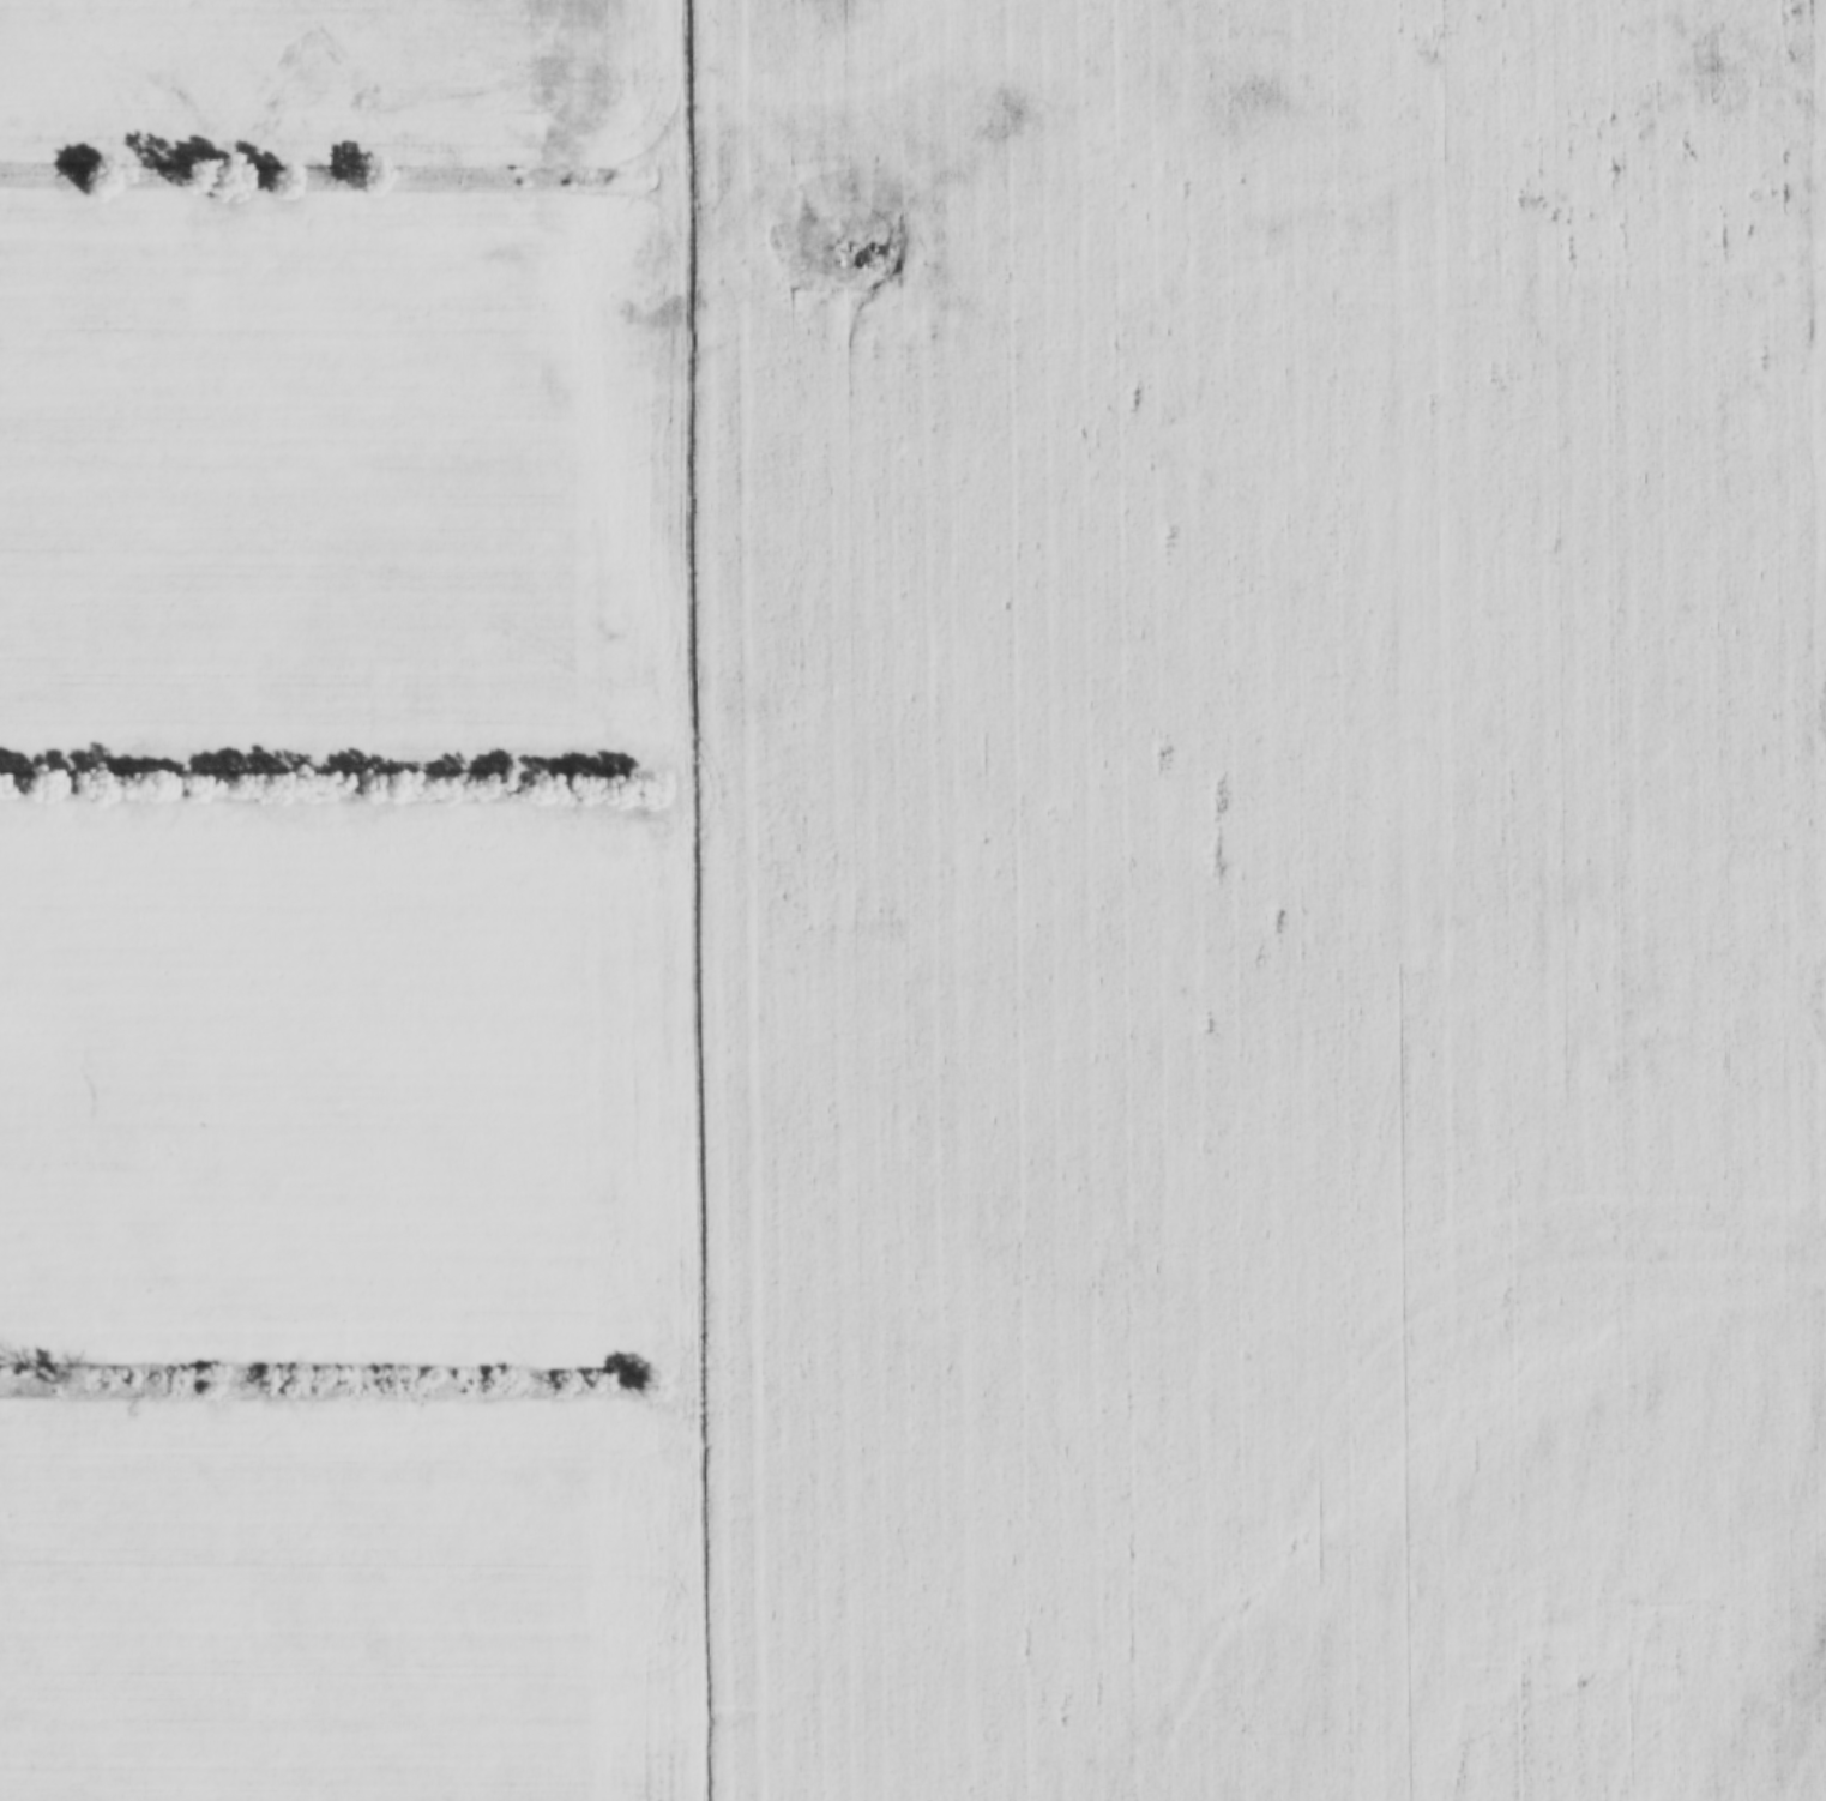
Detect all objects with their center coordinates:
road: (701, 899)

